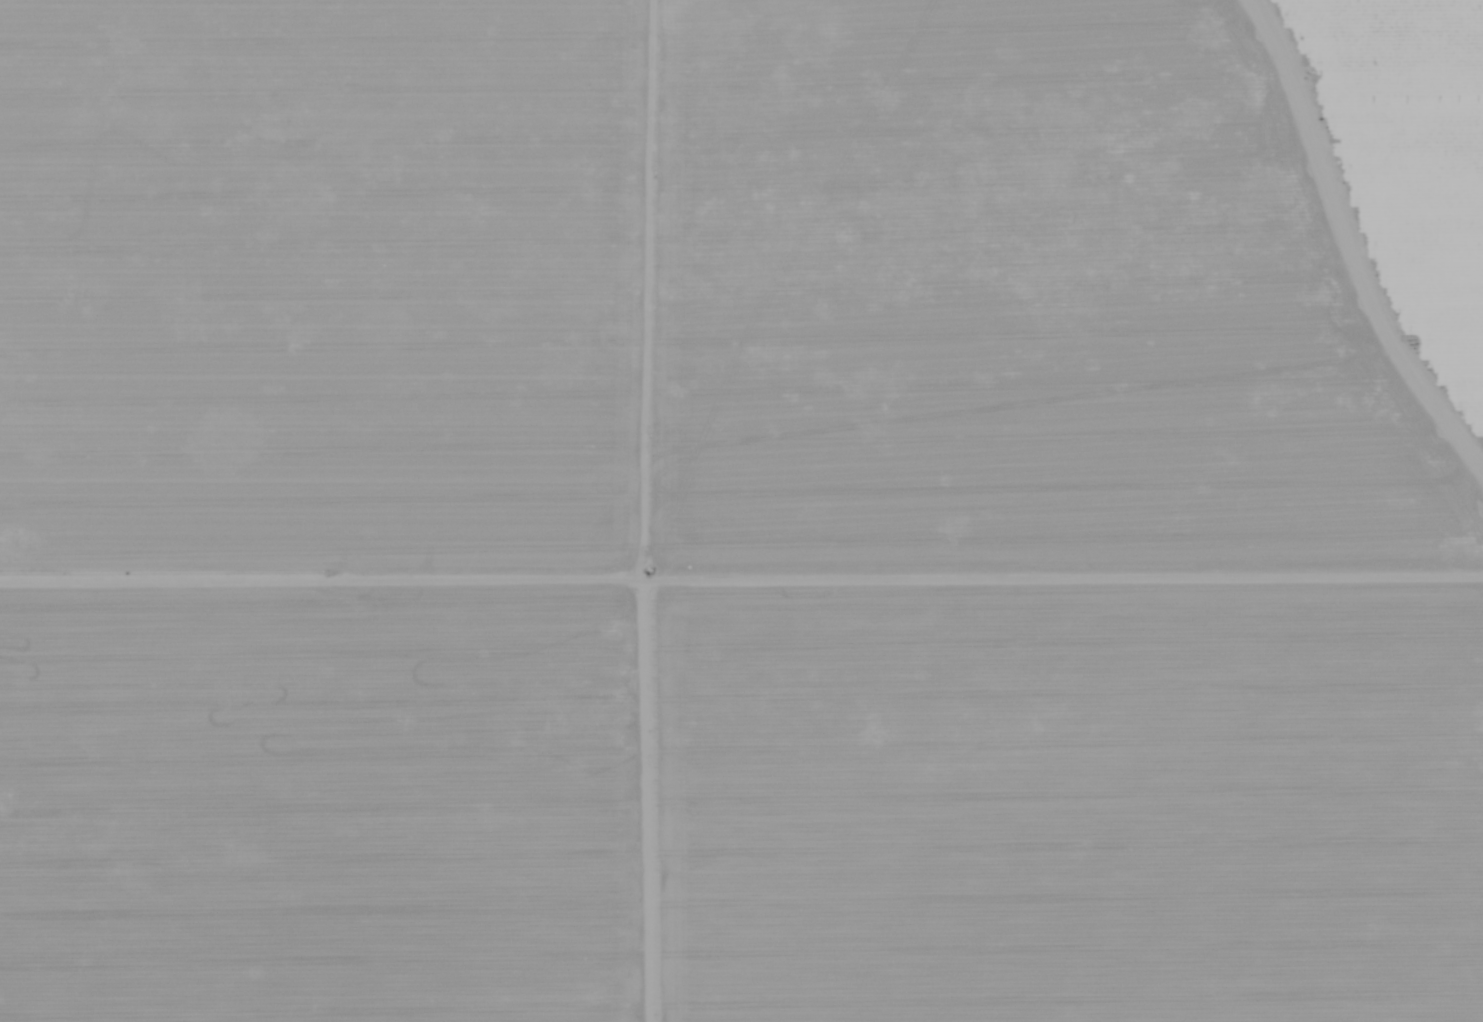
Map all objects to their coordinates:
crop: (741, 511)

